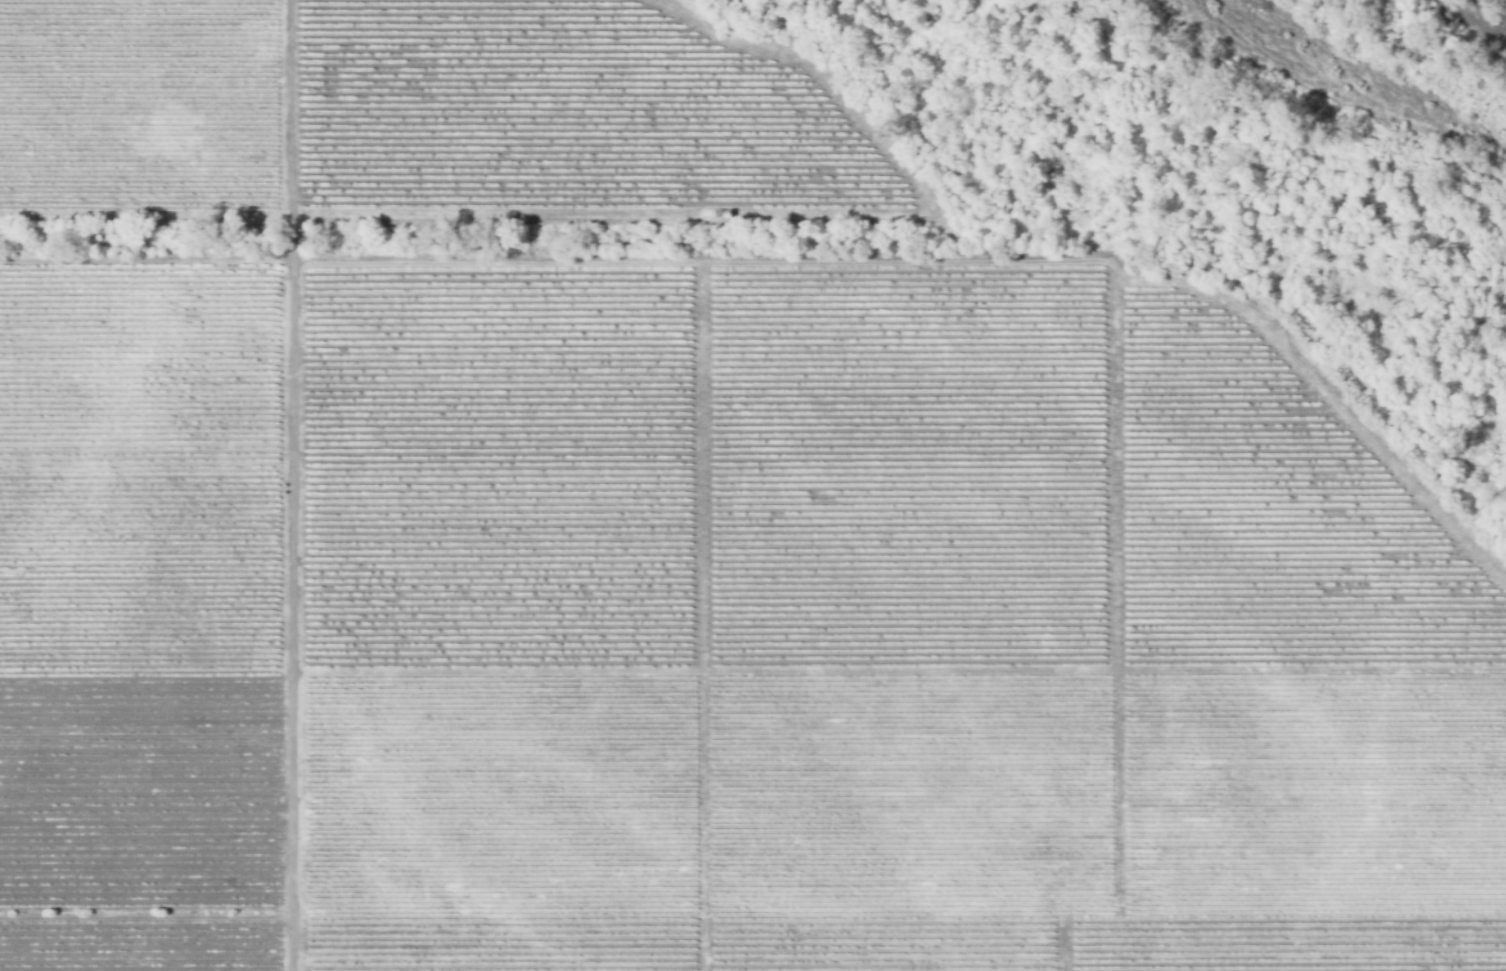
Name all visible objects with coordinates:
building: (727, 214)
road: (1164, 276)
road: (704, 410)
road: (293, 485)

